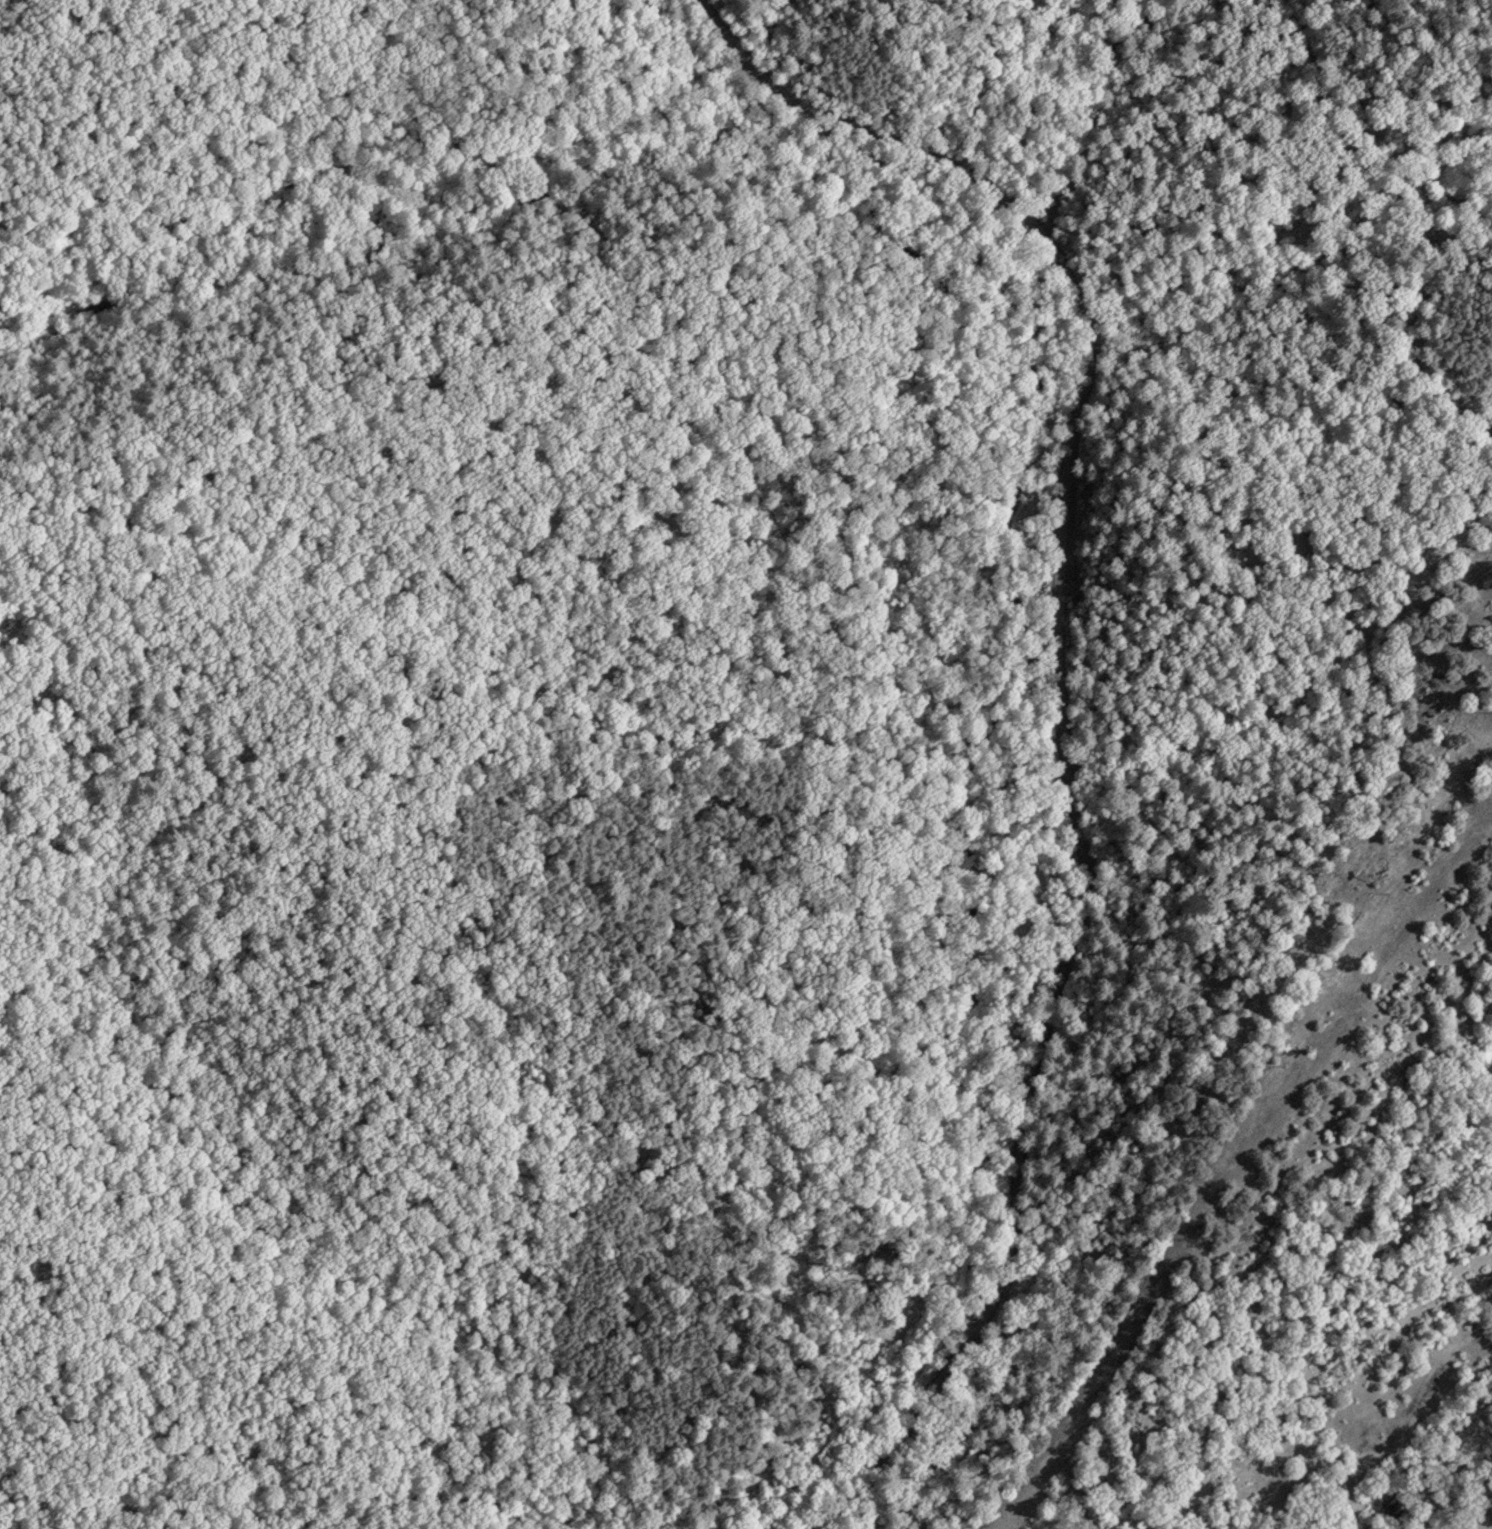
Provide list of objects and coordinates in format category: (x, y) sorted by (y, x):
road: (1087, 728)

